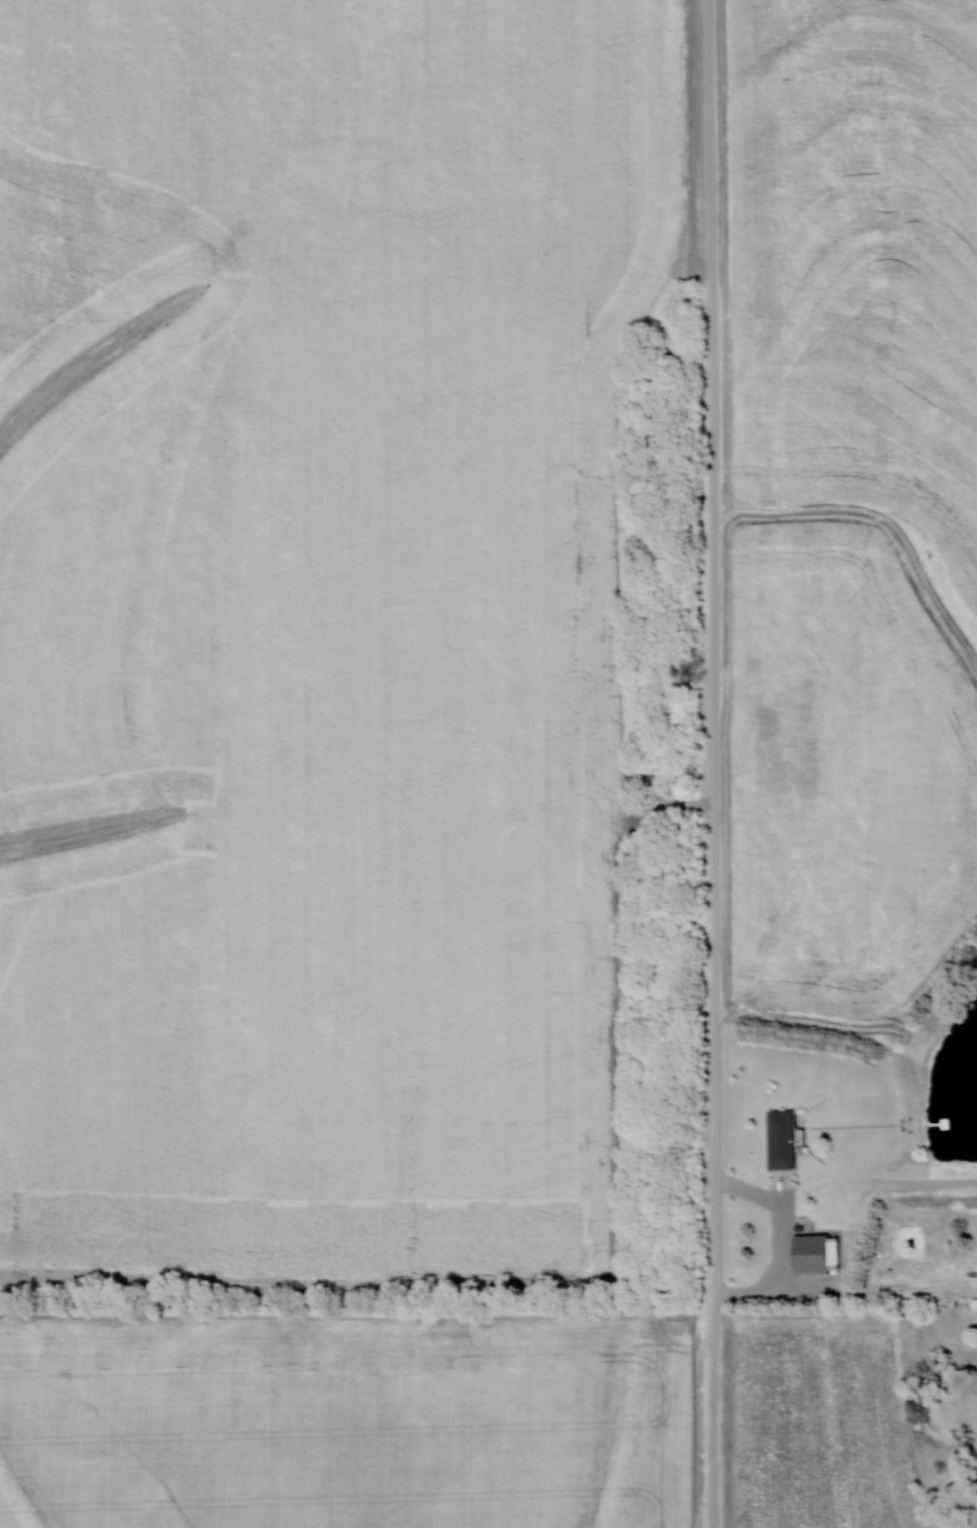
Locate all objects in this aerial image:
road: (717, 763)
building: (787, 1139)
road: (778, 1251)
building: (816, 1253)

